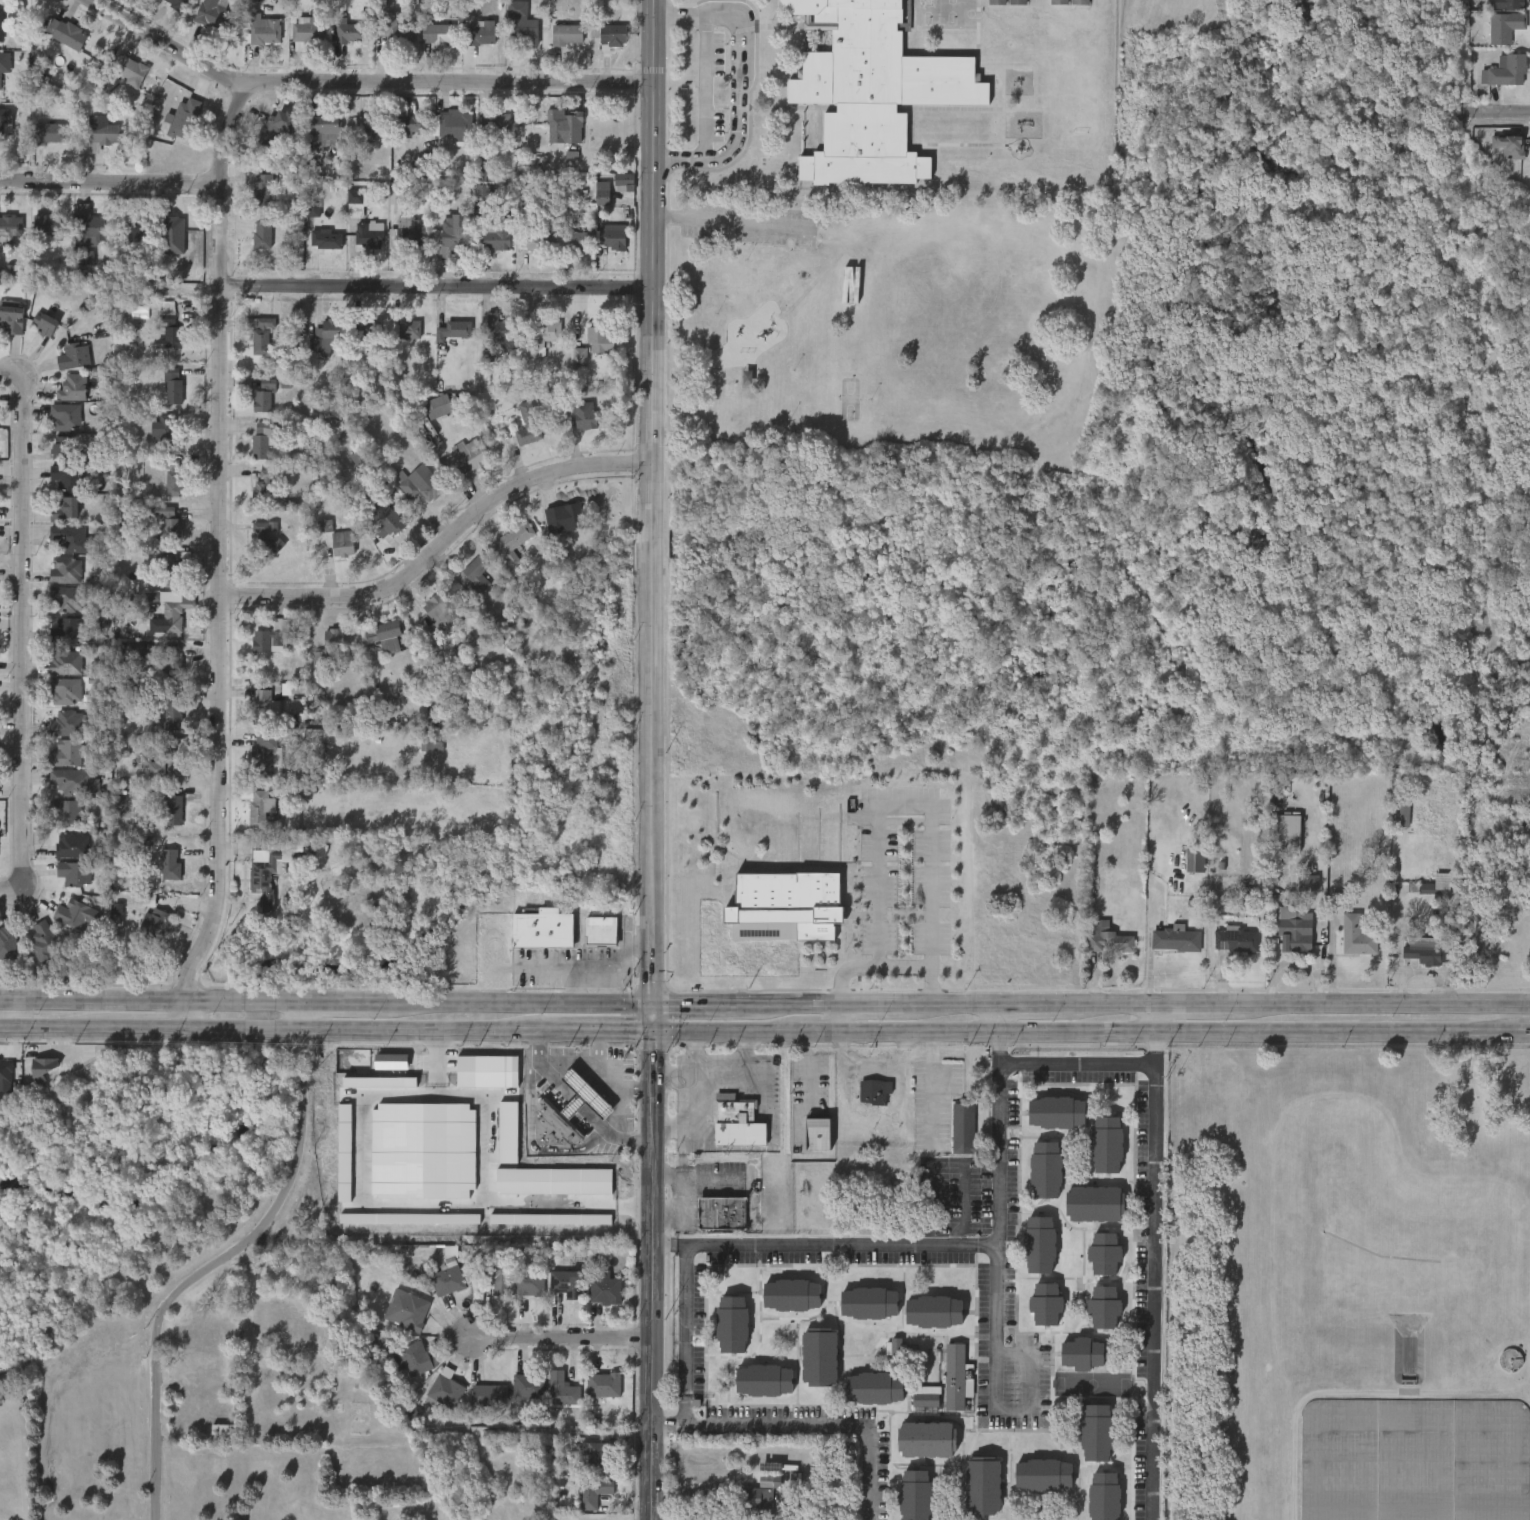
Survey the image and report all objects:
building: (996, 2)
building: (1017, 2)
building: (1059, 2)
building: (1079, 2)
building: (1509, 4)
building: (180, 5)
building: (212, 13)
building: (523, 23)
building: (1, 26)
building: (1501, 28)
building: (395, 30)
building: (263, 32)
building: (309, 33)
building: (350, 33)
building: (67, 34)
building: (438, 34)
building: (481, 34)
building: (564, 35)
building: (612, 35)
building: (4, 64)
building: (130, 71)
building: (1505, 72)
road: (361, 81)
building: (97, 82)
road: (738, 85)
road: (704, 87)
building: (869, 90)
road: (1507, 113)
building: (184, 119)
building: (5, 120)
building: (493, 123)
building: (566, 123)
building: (411, 125)
building: (330, 126)
building: (370, 126)
building: (453, 126)
building: (275, 128)
building: (48, 134)
building: (101, 136)
building: (1509, 146)
building: (485, 166)
building: (285, 175)
road: (110, 181)
building: (624, 182)
building: (262, 189)
building: (603, 194)
building: (396, 196)
building: (482, 197)
building: (355, 202)
building: (549, 209)
building: (312, 210)
road: (727, 222)
parking lot: (748, 224)
building: (10, 225)
building: (88, 227)
building: (139, 228)
building: (48, 229)
building: (410, 232)
building: (262, 235)
building: (370, 235)
building: (451, 235)
building: (498, 237)
building: (326, 240)
building: (533, 240)
building: (575, 241)
building: (611, 241)
building: (86, 257)
road: (436, 286)
building: (849, 286)
building: (12, 320)
park: (889, 320)
building: (46, 323)
building: (169, 328)
building: (410, 331)
building: (455, 331)
building: (502, 332)
building: (370, 333)
building: (262, 334)
building: (541, 335)
building: (327, 337)
building: (598, 337)
building: (580, 356)
building: (73, 357)
building: (173, 386)
building: (72, 389)
building: (266, 396)
park: (848, 399)
building: (434, 407)
building: (582, 415)
building: (65, 417)
building: (528, 426)
building: (169, 435)
building: (266, 440)
building: (62, 449)
building: (359, 458)
building: (466, 458)
building: (173, 475)
building: (69, 477)
building: (419, 483)
building: (263, 488)
road: (650, 500)
building: (67, 509)
building: (562, 517)
building: (169, 524)
building: (387, 525)
building: (324, 527)
building: (70, 539)
building: (269, 539)
building: (510, 542)
building: (343, 545)
road: (438, 547)
road: (219, 557)
building: (173, 567)
building: (67, 571)
building: (473, 577)
building: (67, 599)
building: (434, 613)
building: (177, 615)
road: (22, 632)
building: (70, 632)
building: (380, 632)
building: (275, 638)
building: (334, 639)
building: (134, 651)
building: (319, 660)
building: (68, 662)
building: (172, 665)
building: (66, 691)
building: (273, 701)
building: (176, 708)
building: (67, 723)
building: (268, 753)
building: (69, 754)
building: (174, 758)
building: (78, 782)
road: (907, 802)
building: (259, 805)
building: (170, 809)
building: (65, 812)
building: (1404, 812)
building: (1283, 829)
building: (72, 845)
building: (1197, 859)
building: (169, 863)
building: (276, 870)
building: (75, 873)
building: (1308, 882)
building: (1432, 888)
building: (785, 906)
building: (76, 914)
building: (158, 924)
building: (538, 930)
building: (597, 932)
building: (1298, 933)
building: (1357, 933)
building: (1107, 938)
building: (1179, 938)
building: (1238, 939)
building: (44, 942)
building: (8, 943)
building: (1428, 950)
road: (870, 965)
road: (149, 998)
road: (345, 1000)
road: (522, 1000)
traffic signals: (653, 1001)
road: (707, 1001)
road: (800, 1001)
road: (871, 1002)
road: (951, 1002)
road: (1030, 1002)
road: (1110, 1003)
road: (1194, 1003)
road: (1381, 1004)
road: (653, 1016)
road: (1156, 1018)
road: (997, 1026)
road: (56, 1029)
road: (149, 1030)
road: (364, 1031)
road: (598, 1032)
traffic signals: (654, 1032)
road: (725, 1032)
road: (813, 1032)
road: (993, 1033)
road: (1343, 1034)
road: (1157, 1042)
road: (690, 1052)
road: (1156, 1058)
building: (391, 1062)
road: (567, 1062)
road: (438, 1065)
road: (1077, 1065)
building: (43, 1069)
building: (487, 1072)
road: (714, 1072)
building: (6, 1075)
building: (379, 1082)
road: (635, 1087)
road: (931, 1090)
building: (873, 1091)
building: (580, 1096)
gas station: (580, 1096)
road: (569, 1105)
building: (1055, 1109)
road: (618, 1113)
road: (688, 1115)
building: (735, 1121)
building: (549, 1124)
building: (965, 1128)
building: (813, 1132)
building: (508, 1133)
building: (1105, 1142)
building: (423, 1151)
building: (345, 1153)
building: (1045, 1167)
building: (553, 1182)
building: (1095, 1200)
building: (719, 1213)
building: (409, 1219)
building: (550, 1219)
building: (1038, 1243)
road: (834, 1247)
road: (663, 1249)
building: (1103, 1252)
road: (225, 1260)
building: (493, 1275)
road: (653, 1275)
building: (449, 1278)
building: (526, 1283)
building: (563, 1283)
road: (996, 1283)
building: (603, 1290)
building: (790, 1292)
road: (1153, 1292)
building: (867, 1301)
building: (1044, 1302)
building: (1102, 1304)
building: (407, 1310)
building: (931, 1310)
road: (684, 1321)
building: (730, 1322)
road: (562, 1337)
building: (1080, 1352)
building: (817, 1354)
building: (415, 1359)
building: (192, 1364)
building: (953, 1375)
building: (761, 1378)
building: (605, 1386)
building: (873, 1386)
building: (530, 1387)
building: (442, 1391)
building: (563, 1391)
building: (490, 1397)
building: (928, 1399)
road: (684, 1408)
road: (677, 1423)
road: (830, 1424)
building: (1094, 1430)
building: (224, 1433)
building: (924, 1437)
building: (601, 1458)
building: (1415, 1460)
building: (1041, 1474)
building: (769, 1481)
building: (982, 1484)
building: (593, 1493)
building: (913, 1494)
building: (1103, 1496)
building: (753, 1504)
building: (601, 1519)

